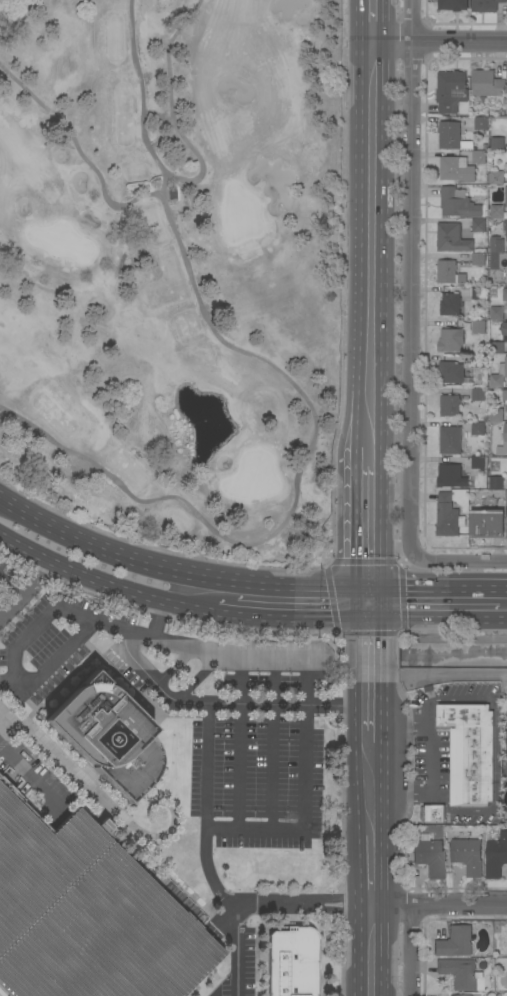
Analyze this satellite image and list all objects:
building: (453, 5)
building: (486, 5)
road: (372, 22)
road: (439, 43)
building: (488, 84)
road: (140, 90)
building: (451, 91)
road: (170, 107)
building: (480, 123)
building: (452, 136)
building: (497, 144)
road: (83, 157)
building: (479, 157)
building: (457, 169)
building: (496, 177)
building: (506, 198)
building: (458, 203)
building: (497, 212)
building: (479, 225)
building: (505, 225)
building: (506, 233)
building: (452, 238)
building: (496, 246)
road: (370, 247)
building: (478, 259)
park: (173, 268)
building: (446, 271)
road: (412, 277)
building: (462, 279)
building: (479, 295)
building: (505, 295)
building: (450, 304)
building: (497, 313)
building: (478, 327)
building: (504, 329)
building: (450, 340)
building: (497, 349)
building: (479, 361)
building: (452, 373)
building: (499, 377)
building: (478, 395)
building: (505, 400)
building: (450, 406)
building: (496, 415)
building: (478, 429)
building: (506, 435)
building: (450, 440)
building: (478, 462)
building: (449, 475)
building: (496, 483)
road: (294, 494)
building: (448, 516)
road: (367, 518)
building: (486, 522)
road: (457, 564)
road: (176, 569)
road: (104, 585)
traffic signals: (367, 587)
road: (433, 587)
road: (503, 587)
road: (27, 590)
road: (367, 603)
road: (226, 614)
road: (301, 619)
traffic signals: (367, 619)
road: (436, 619)
road: (21, 638)
road: (368, 652)
road: (436, 675)
road: (9, 678)
road: (226, 704)
parking lot: (190, 708)
road: (369, 714)
road: (398, 725)
building: (107, 736)
road: (498, 742)
road: (308, 754)
building: (468, 754)
building: (506, 770)
road: (32, 781)
road: (369, 790)
road: (407, 797)
building: (430, 814)
building: (468, 856)
building: (430, 857)
building: (496, 857)
road: (370, 871)
road: (120, 876)
road: (88, 891)
road: (257, 905)
road: (438, 906)
road: (56, 912)
road: (1, 913)
building: (90, 913)
parking lot: (90, 913)
road: (237, 917)
road: (222, 921)
building: (455, 942)
road: (370, 951)
road: (407, 951)
road: (236, 962)
building: (292, 962)
parking lot: (238, 969)
building: (460, 974)
road: (69, 977)
road: (16, 979)
road: (81, 994)
building: (461, 995)

